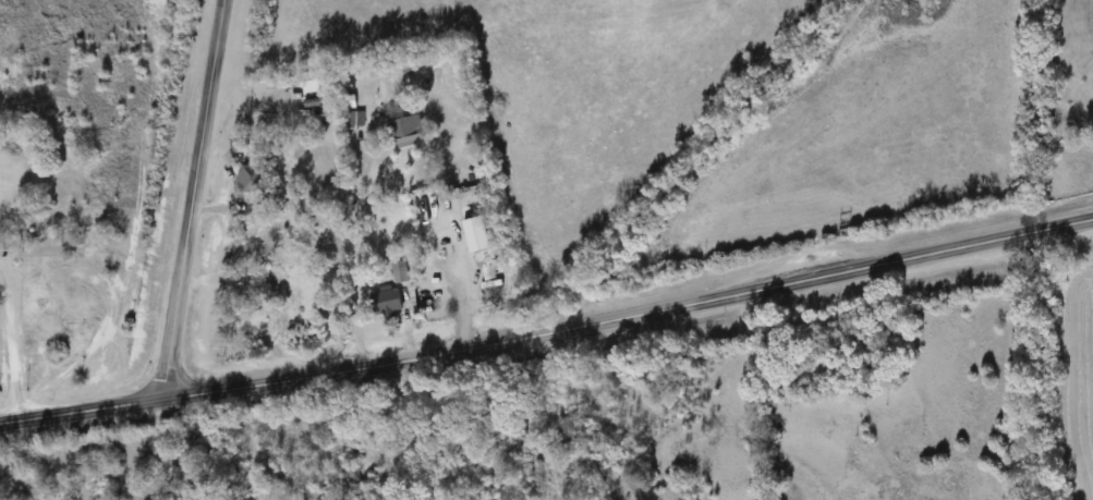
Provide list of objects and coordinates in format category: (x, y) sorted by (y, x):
building: (350, 121)
building: (409, 133)
building: (252, 180)
road: (195, 194)
building: (10, 244)
road: (359, 255)
building: (487, 267)
building: (400, 273)
building: (388, 303)
building: (332, 313)
building: (259, 327)
road: (548, 330)
road: (9, 342)
road: (417, 428)

